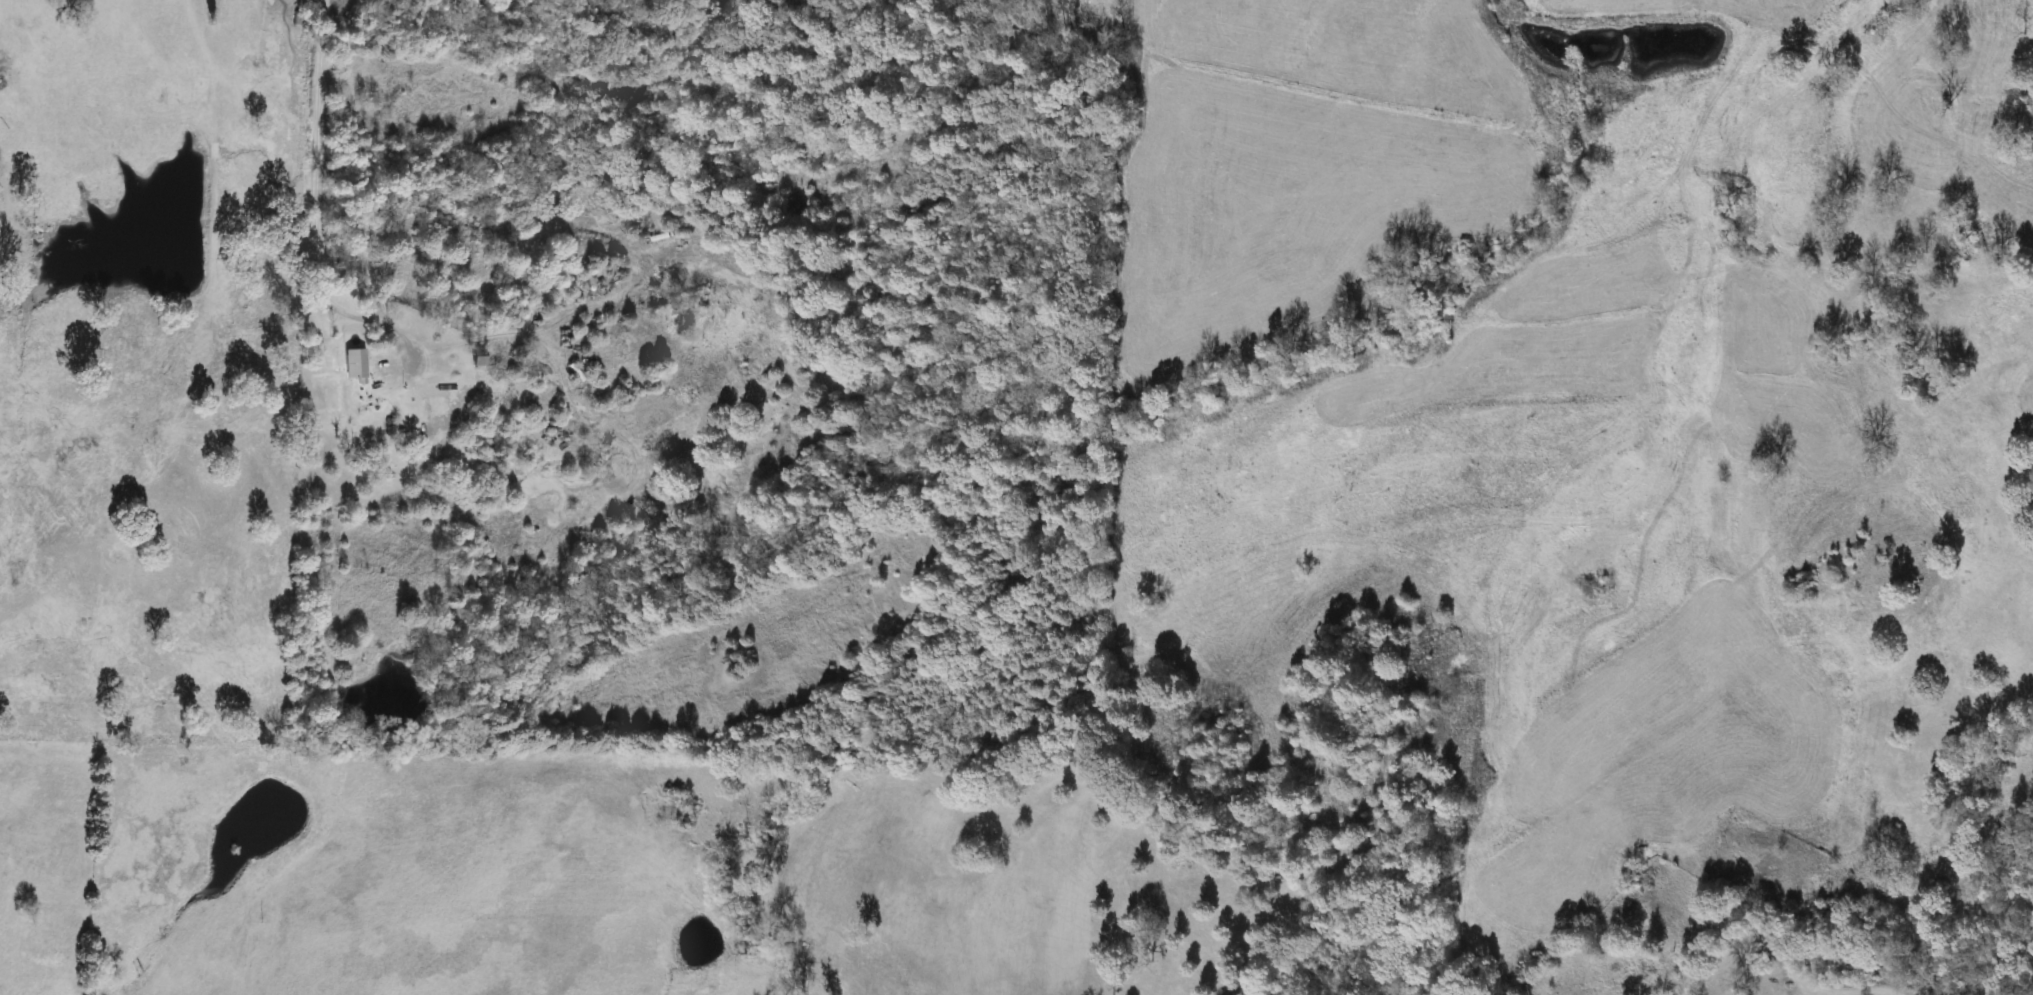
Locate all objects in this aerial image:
building: (466, 10)
road: (317, 210)
building: (475, 356)
building: (353, 365)

